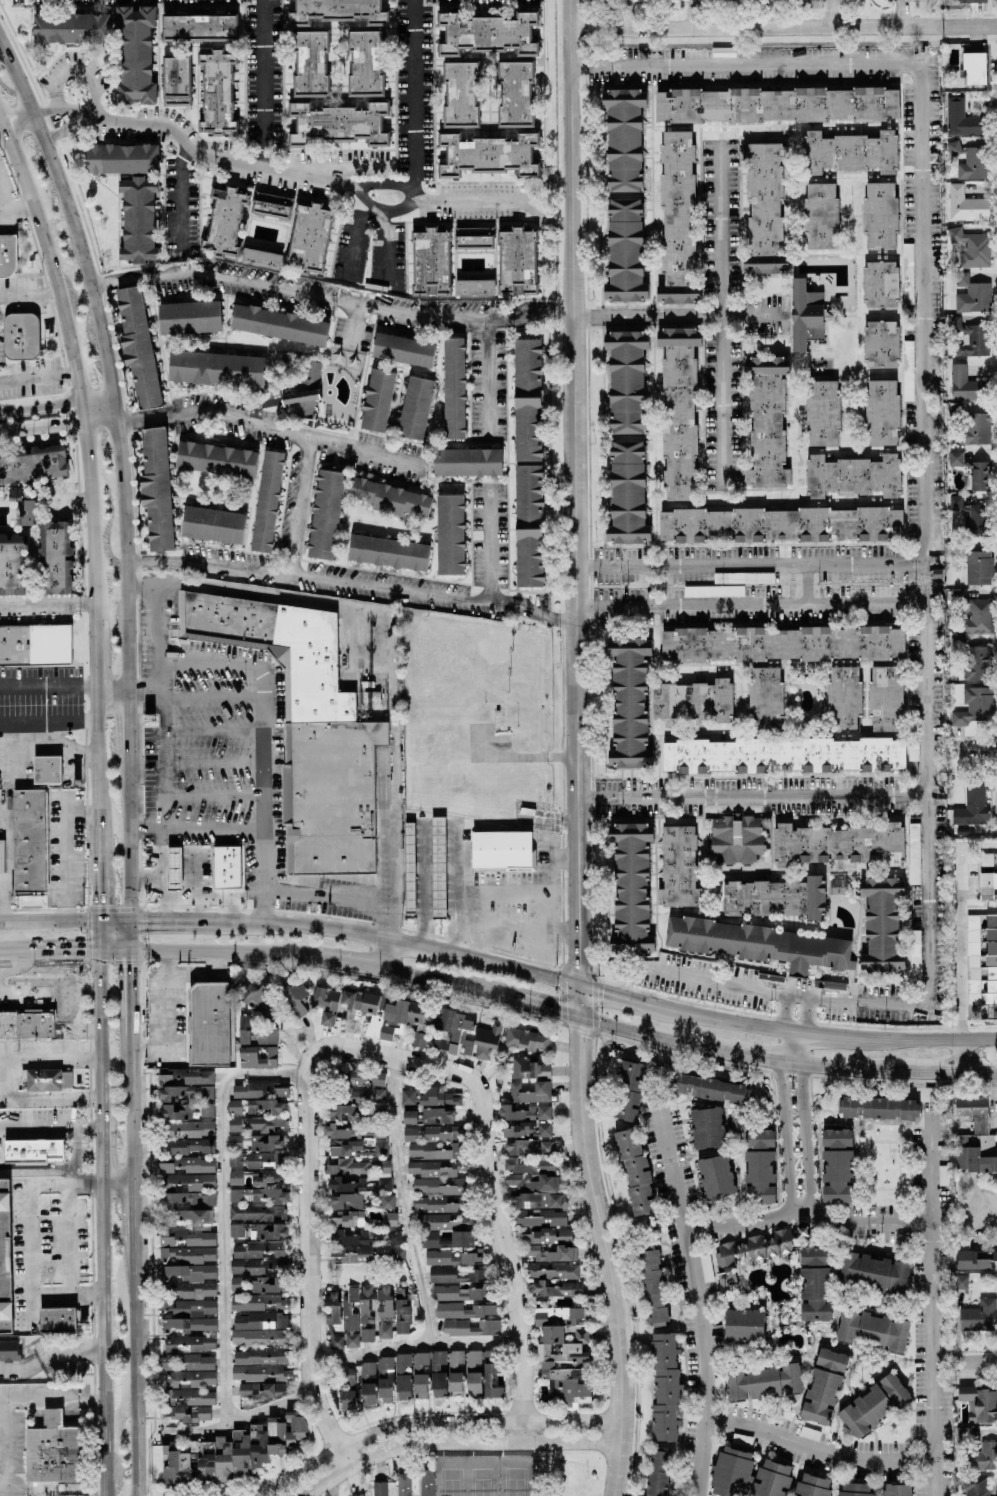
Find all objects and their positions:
building: (971, 0)
building: (338, 11)
road: (831, 13)
building: (199, 27)
road: (783, 27)
building: (71, 28)
building: (135, 55)
building: (310, 63)
building: (365, 63)
road: (78, 68)
building: (974, 68)
building: (177, 81)
road: (261, 84)
building: (218, 93)
building: (461, 94)
building: (515, 94)
building: (775, 104)
road: (59, 108)
road: (89, 117)
building: (961, 119)
road: (16, 121)
building: (340, 123)
road: (1, 127)
road: (64, 128)
building: (623, 138)
building: (848, 151)
road: (414, 154)
building: (97, 158)
building: (129, 158)
building: (967, 160)
road: (249, 166)
road: (183, 199)
building: (763, 199)
road: (529, 202)
building: (964, 204)
road: (1, 205)
building: (271, 206)
road: (15, 209)
road: (382, 211)
building: (820, 215)
building: (879, 215)
building: (138, 220)
building: (676, 221)
building: (225, 224)
building: (308, 238)
road: (355, 238)
building: (474, 238)
building: (970, 247)
road: (387, 248)
building: (624, 252)
building: (7, 255)
building: (261, 258)
building: (518, 262)
building: (432, 263)
building: (764, 264)
building: (907, 273)
road: (143, 276)
building: (880, 283)
building: (474, 287)
road: (277, 288)
road: (29, 295)
building: (970, 295)
road: (928, 308)
road: (725, 313)
building: (804, 313)
road: (681, 314)
road: (417, 316)
road: (528, 316)
building: (189, 317)
building: (279, 325)
road: (350, 326)
building: (20, 336)
building: (966, 337)
building: (880, 343)
building: (137, 345)
building: (403, 350)
road: (104, 358)
road: (71, 366)
building: (216, 369)
building: (906, 370)
road: (36, 377)
building: (626, 381)
road: (484, 382)
building: (966, 385)
building: (453, 388)
building: (377, 400)
building: (527, 400)
building: (301, 402)
road: (39, 403)
building: (415, 407)
building: (678, 408)
building: (881, 412)
building: (822, 413)
road: (99, 422)
building: (766, 422)
road: (42, 428)
building: (973, 428)
road: (270, 429)
building: (954, 458)
building: (216, 459)
building: (467, 462)
building: (32, 463)
building: (853, 475)
building: (978, 475)
road: (450, 483)
building: (156, 488)
building: (14, 494)
building: (627, 494)
building: (391, 498)
building: (267, 501)
road: (71, 502)
building: (954, 502)
road: (295, 507)
building: (27, 512)
building: (325, 514)
building: (976, 519)
building: (780, 524)
building: (213, 525)
building: (528, 525)
building: (450, 534)
road: (485, 543)
building: (388, 552)
building: (56, 556)
building: (11, 563)
building: (977, 567)
road: (843, 580)
road: (672, 584)
road: (352, 585)
road: (282, 599)
road: (46, 607)
building: (977, 616)
road: (929, 631)
building: (783, 643)
building: (35, 645)
road: (93, 653)
building: (977, 663)
road: (47, 686)
road: (109, 686)
road: (143, 686)
road: (265, 686)
road: (214, 698)
building: (885, 698)
building: (765, 699)
building: (843, 699)
building: (693, 700)
building: (629, 702)
building: (971, 707)
road: (47, 720)
road: (125, 723)
road: (214, 730)
building: (307, 730)
road: (56, 732)
road: (26, 742)
road: (974, 749)
road: (579, 750)
building: (781, 755)
road: (164, 764)
road: (72, 767)
road: (95, 767)
building: (47, 770)
road: (47, 774)
road: (754, 794)
building: (971, 806)
building: (995, 825)
road: (215, 827)
road: (387, 837)
building: (735, 838)
building: (30, 840)
road: (127, 840)
building: (837, 844)
building: (501, 849)
road: (64, 851)
road: (161, 852)
building: (913, 853)
building: (2, 856)
building: (226, 867)
building: (437, 867)
building: (172, 868)
building: (678, 868)
building: (987, 874)
road: (959, 875)
road: (547, 876)
road: (162, 880)
road: (424, 883)
road: (502, 883)
building: (630, 889)
road: (214, 896)
road: (345, 897)
building: (775, 898)
road: (95, 899)
road: (2, 902)
traffic signals: (96, 903)
road: (458, 903)
road: (230, 907)
traffic signals: (146, 920)
road: (161, 920)
road: (47, 921)
building: (881, 924)
road: (542, 933)
road: (405, 943)
building: (759, 944)
road: (78, 949)
traffic signals: (82, 949)
road: (14, 951)
road: (221, 951)
road: (385, 953)
building: (914, 955)
road: (347, 962)
traffic signals: (580, 962)
building: (991, 965)
building: (972, 966)
traffic signals: (129, 967)
road: (961, 973)
road: (129, 977)
road: (441, 982)
road: (719, 982)
road: (49, 990)
traffic signals: (602, 993)
building: (256, 997)
building: (326, 997)
road: (618, 997)
building: (297, 1001)
road: (867, 1002)
road: (539, 1008)
building: (351, 1009)
building: (270, 1012)
traffic signals: (555, 1012)
road: (166, 1014)
building: (390, 1015)
building: (326, 1018)
road: (717, 1018)
building: (27, 1024)
building: (208, 1024)
building: (398, 1028)
road: (98, 1031)
building: (254, 1033)
traffic signals: (580, 1034)
road: (642, 1034)
building: (468, 1035)
road: (830, 1035)
road: (292, 1039)
building: (418, 1039)
building: (525, 1040)
road: (940, 1041)
road: (373, 1052)
road: (753, 1054)
building: (257, 1057)
road: (952, 1057)
road: (49, 1058)
road: (846, 1066)
building: (530, 1069)
road: (923, 1071)
road: (974, 1072)
building: (186, 1077)
building: (356, 1077)
building: (377, 1079)
building: (46, 1080)
building: (709, 1088)
building: (257, 1090)
building: (628, 1091)
building: (530, 1092)
building: (368, 1095)
building: (407, 1097)
building: (438, 1097)
road: (779, 1098)
building: (180, 1100)
road: (802, 1100)
building: (234, 1106)
building: (266, 1106)
road: (130, 1108)
building: (876, 1108)
building: (206, 1110)
building: (344, 1112)
building: (378, 1112)
building: (523, 1112)
building: (427, 1116)
building: (255, 1123)
building: (706, 1127)
building: (189, 1128)
building: (526, 1130)
road: (50, 1131)
building: (409, 1134)
building: (442, 1134)
building: (974, 1136)
building: (257, 1142)
road: (101, 1146)
building: (188, 1146)
building: (520, 1147)
building: (546, 1147)
building: (34, 1151)
road: (76, 1158)
building: (255, 1159)
building: (455, 1159)
building: (187, 1165)
building: (528, 1165)
building: (836, 1165)
building: (348, 1166)
building: (759, 1166)
road: (36, 1171)
building: (635, 1171)
building: (383, 1174)
building: (715, 1176)
building: (235, 1177)
building: (267, 1177)
road: (116, 1179)
building: (190, 1181)
building: (345, 1184)
building: (437, 1186)
building: (238, 1195)
building: (271, 1195)
building: (186, 1200)
building: (535, 1200)
building: (345, 1201)
building: (386, 1201)
road: (405, 1201)
building: (437, 1203)
road: (805, 1203)
road: (989, 1205)
road: (224, 1206)
building: (256, 1212)
building: (188, 1216)
road: (28, 1217)
road: (132, 1218)
building: (539, 1218)
building: (348, 1219)
building: (389, 1219)
building: (441, 1221)
building: (257, 1231)
building: (352, 1237)
building: (392, 1237)
building: (445, 1240)
building: (530, 1244)
building: (166, 1246)
building: (256, 1249)
road: (505, 1250)
building: (749, 1251)
building: (352, 1252)
road: (67, 1253)
building: (395, 1254)
building: (815, 1255)
building: (452, 1257)
building: (5, 1258)
building: (975, 1258)
building: (236, 1265)
building: (705, 1267)
building: (255, 1268)
building: (553, 1270)
building: (872, 1272)
building: (454, 1275)
road: (309, 1279)
building: (190, 1280)
building: (960, 1281)
building: (235, 1284)
building: (266, 1284)
building: (652, 1286)
building: (556, 1289)
building: (454, 1293)
building: (815, 1294)
road: (702, 1300)
building: (332, 1306)
road: (930, 1306)
building: (190, 1307)
building: (256, 1310)
building: (463, 1310)
building: (384, 1312)
building: (402, 1312)
building: (978, 1315)
building: (357, 1316)
building: (58, 1319)
building: (281, 1320)
building: (189, 1324)
building: (743, 1325)
building: (470, 1327)
building: (872, 1330)
building: (256, 1336)
road: (102, 1337)
building: (335, 1342)
building: (189, 1343)
road: (415, 1345)
building: (9, 1350)
building: (562, 1355)
road: (49, 1356)
building: (260, 1356)
building: (455, 1360)
building: (187, 1361)
building: (472, 1361)
road: (978, 1362)
building: (438, 1373)
road: (133, 1375)
building: (420, 1376)
building: (402, 1377)
building: (189, 1378)
building: (384, 1378)
building: (259, 1380)
building: (455, 1381)
building: (496, 1381)
building: (763, 1381)
building: (367, 1382)
building: (473, 1384)
building: (823, 1386)
building: (664, 1388)
building: (347, 1389)
building: (188, 1398)
road: (14, 1402)
building: (979, 1403)
building: (873, 1405)
building: (192, 1413)
road: (240, 1419)
road: (434, 1425)
building: (962, 1433)
road: (461, 1446)
building: (51, 1450)
building: (231, 1451)
road: (816, 1452)
building: (983, 1456)
building: (657, 1471)
building: (731, 1472)
building: (770, 1478)
building: (426, 1482)
park: (482, 1483)
building: (402, 1484)
park: (451, 1484)
park: (515, 1484)
building: (812, 1486)
building: (974, 1486)
building: (854, 1489)
building: (896, 1490)
building: (356, 1495)

